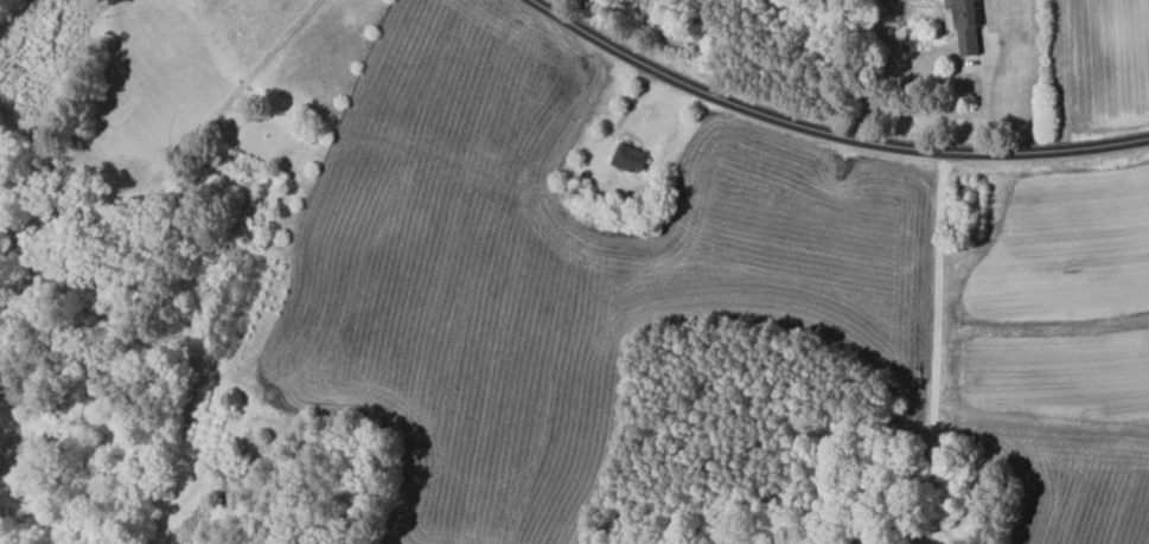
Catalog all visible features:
building: (962, 26)
road: (984, 94)
road: (824, 136)
building: (626, 156)
road: (934, 350)

